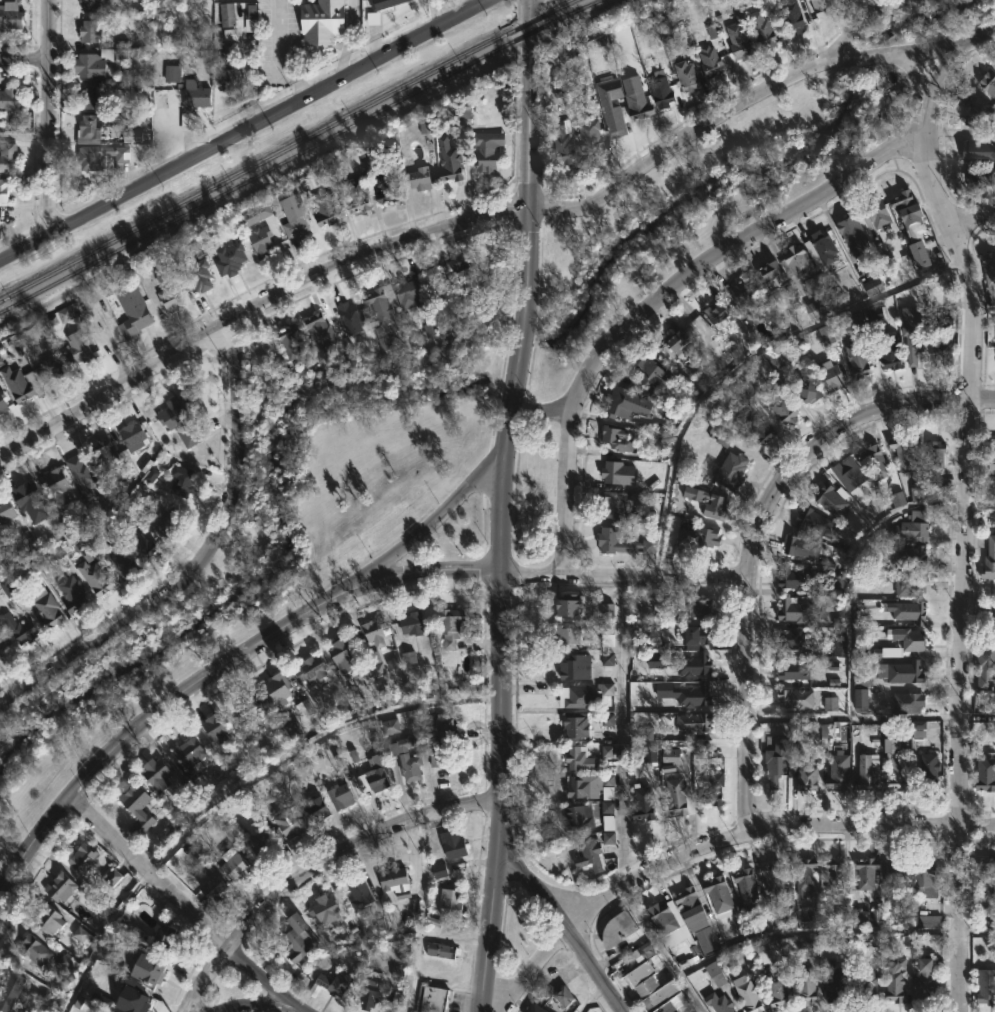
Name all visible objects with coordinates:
building: (845, 0)
building: (382, 3)
building: (89, 5)
building: (821, 8)
building: (226, 14)
building: (790, 15)
building: (10, 16)
building: (322, 22)
road: (858, 26)
building: (89, 31)
building: (764, 32)
building: (229, 34)
road: (347, 40)
building: (738, 41)
road: (894, 51)
road: (280, 52)
road: (929, 57)
building: (92, 62)
building: (711, 62)
road: (22, 64)
building: (228, 72)
building: (172, 73)
building: (687, 76)
building: (988, 83)
building: (661, 93)
building: (89, 98)
building: (9, 100)
building: (192, 102)
building: (637, 104)
building: (979, 116)
road: (45, 118)
building: (614, 119)
building: (95, 127)
road: (243, 133)
building: (588, 134)
building: (132, 136)
building: (564, 143)
railway: (287, 149)
building: (487, 149)
building: (979, 151)
railway: (298, 154)
building: (7, 158)
building: (103, 158)
building: (449, 161)
building: (981, 177)
building: (419, 179)
road: (929, 181)
building: (386, 186)
building: (3, 191)
building: (358, 196)
building: (326, 200)
building: (908, 211)
building: (878, 215)
road: (970, 218)
building: (296, 221)
building: (259, 228)
road: (527, 234)
building: (854, 235)
road: (422, 237)
building: (823, 249)
building: (919, 255)
building: (229, 259)
building: (796, 263)
building: (769, 273)
building: (143, 275)
building: (197, 276)
building: (468, 276)
building: (989, 276)
building: (872, 287)
building: (405, 294)
building: (745, 296)
road: (662, 298)
building: (170, 299)
building: (817, 309)
road: (983, 309)
building: (65, 314)
building: (133, 314)
building: (382, 314)
building: (718, 315)
building: (351, 318)
building: (855, 323)
building: (319, 329)
building: (431, 329)
building: (826, 335)
building: (914, 337)
building: (676, 338)
building: (290, 339)
building: (76, 347)
building: (890, 351)
building: (941, 354)
building: (858, 358)
building: (48, 367)
building: (650, 376)
building: (833, 376)
building: (16, 383)
building: (808, 388)
building: (623, 402)
building: (2, 405)
building: (782, 405)
road: (539, 416)
building: (179, 417)
building: (758, 429)
building: (133, 437)
building: (616, 438)
building: (723, 438)
building: (904, 452)
building: (106, 454)
building: (992, 456)
building: (876, 460)
building: (936, 460)
building: (731, 470)
building: (616, 471)
building: (849, 473)
building: (81, 475)
building: (181, 480)
building: (54, 485)
building: (917, 494)
building: (27, 496)
building: (897, 499)
building: (831, 500)
building: (719, 503)
building: (613, 504)
building: (5, 509)
building: (648, 517)
building: (166, 519)
building: (812, 522)
road: (430, 524)
building: (912, 527)
building: (700, 536)
road: (750, 539)
building: (138, 544)
building: (624, 544)
building: (802, 547)
building: (911, 556)
building: (123, 558)
road: (192, 558)
building: (989, 559)
road: (428, 570)
road: (622, 573)
building: (94, 578)
building: (794, 578)
building: (910, 584)
building: (6, 588)
building: (72, 594)
building: (568, 604)
building: (700, 607)
building: (607, 609)
building: (795, 609)
building: (47, 611)
building: (909, 611)
road: (964, 616)
road: (979, 620)
building: (412, 624)
building: (450, 626)
building: (19, 629)
building: (376, 632)
building: (695, 635)
building: (567, 637)
building: (911, 638)
building: (790, 639)
building: (3, 641)
building: (840, 646)
building: (891, 652)
building: (343, 654)
building: (408, 658)
building: (682, 663)
building: (986, 666)
building: (575, 667)
building: (310, 668)
building: (378, 670)
building: (794, 671)
building: (901, 671)
building: (277, 688)
building: (607, 689)
building: (685, 694)
building: (357, 697)
building: (575, 697)
building: (795, 698)
building: (860, 700)
building: (908, 702)
building: (244, 704)
building: (830, 704)
road: (978, 717)
building: (693, 722)
road: (164, 725)
building: (389, 726)
building: (575, 726)
building: (442, 728)
building: (216, 729)
building: (917, 729)
road: (620, 733)
building: (645, 733)
road: (499, 739)
building: (607, 751)
building: (188, 752)
building: (702, 752)
building: (649, 753)
building: (670, 755)
building: (439, 756)
building: (406, 758)
building: (578, 758)
building: (776, 762)
building: (896, 764)
building: (868, 771)
building: (928, 771)
building: (838, 772)
building: (155, 774)
building: (373, 775)
building: (986, 775)
building: (807, 777)
building: (588, 785)
building: (607, 787)
building: (712, 787)
building: (340, 796)
building: (675, 797)
building: (136, 803)
building: (643, 803)
building: (316, 809)
building: (608, 816)
building: (578, 817)
building: (287, 825)
building: (452, 844)
building: (260, 845)
building: (591, 851)
road: (711, 853)
building: (81, 858)
building: (233, 865)
road: (314, 867)
building: (439, 871)
building: (866, 873)
building: (897, 873)
building: (984, 873)
building: (833, 875)
building: (804, 877)
building: (112, 878)
building: (926, 878)
building: (773, 880)
building: (395, 882)
building: (746, 885)
building: (59, 887)
building: (213, 889)
building: (718, 894)
building: (360, 899)
building: (450, 903)
road: (190, 908)
building: (103, 909)
building: (325, 909)
building: (692, 909)
building: (806, 914)
building: (860, 917)
building: (48, 919)
building: (927, 921)
road: (560, 923)
building: (671, 926)
building: (617, 929)
road: (814, 929)
road: (976, 933)
building: (81, 936)
building: (164, 936)
road: (102, 937)
building: (297, 938)
road: (621, 949)
building: (32, 950)
building: (440, 950)
road: (664, 950)
building: (642, 954)
building: (62, 963)
building: (152, 973)
building: (715, 974)
building: (896, 981)
building: (834, 982)
building: (925, 982)
building: (330, 985)
building: (806, 985)
building: (986, 986)
building: (865, 987)
building: (9, 989)
building: (777, 989)
building: (653, 990)
building: (750, 993)
building: (377, 995)
building: (131, 996)
building: (563, 996)
building: (101, 999)
building: (430, 1000)
building: (719, 1003)
road: (250, 1004)
building: (533, 1008)

